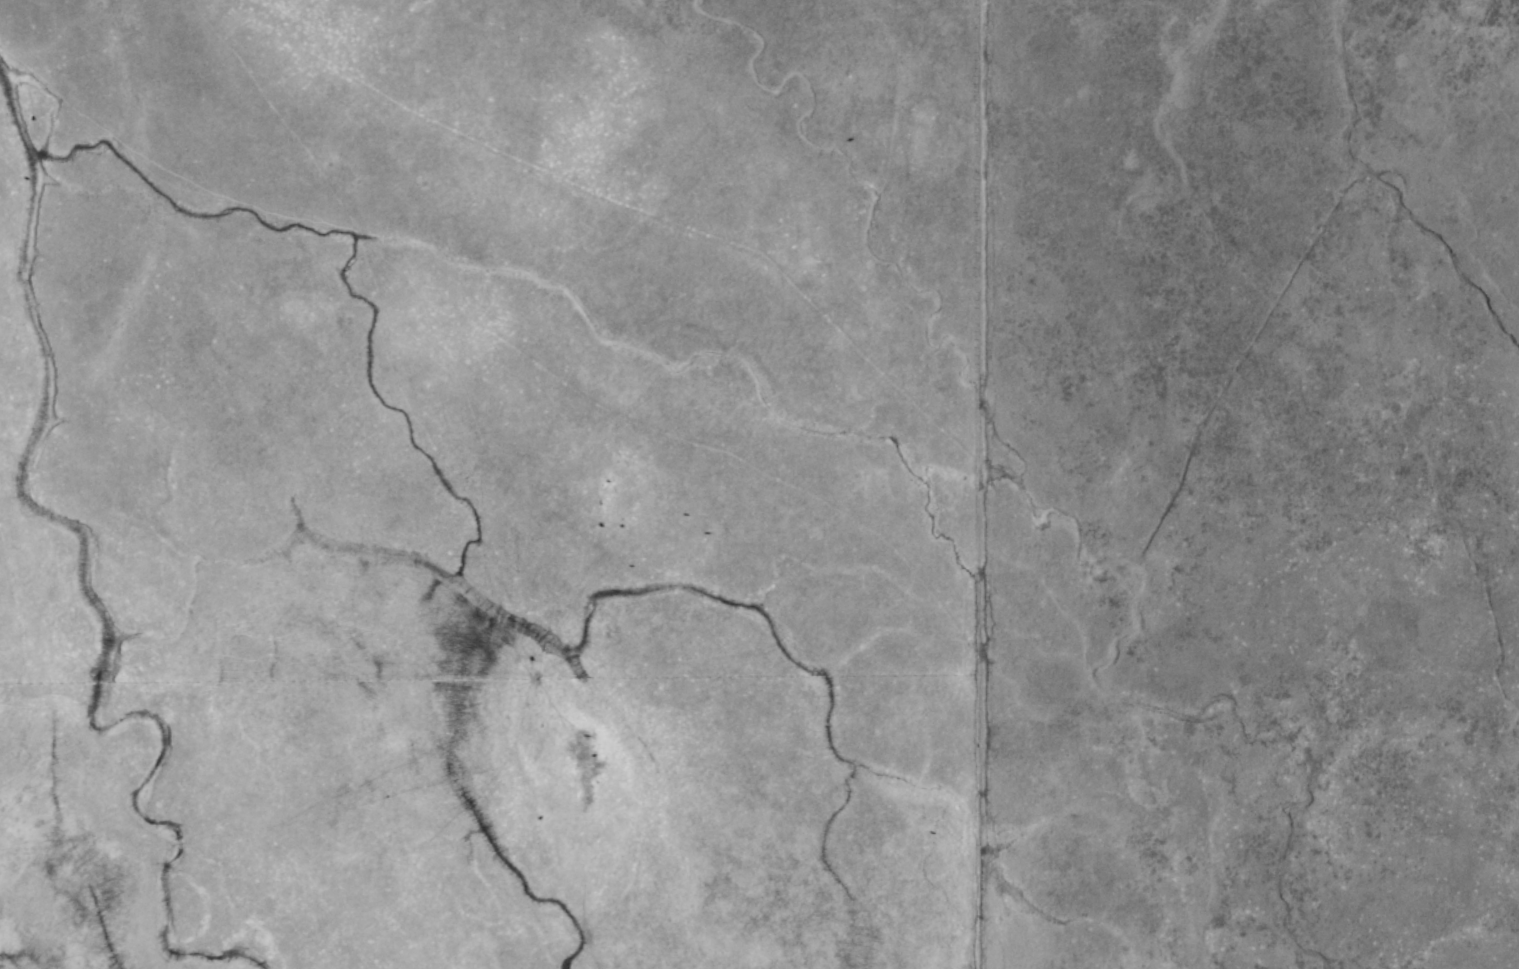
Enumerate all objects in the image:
crop: (759, 484)

